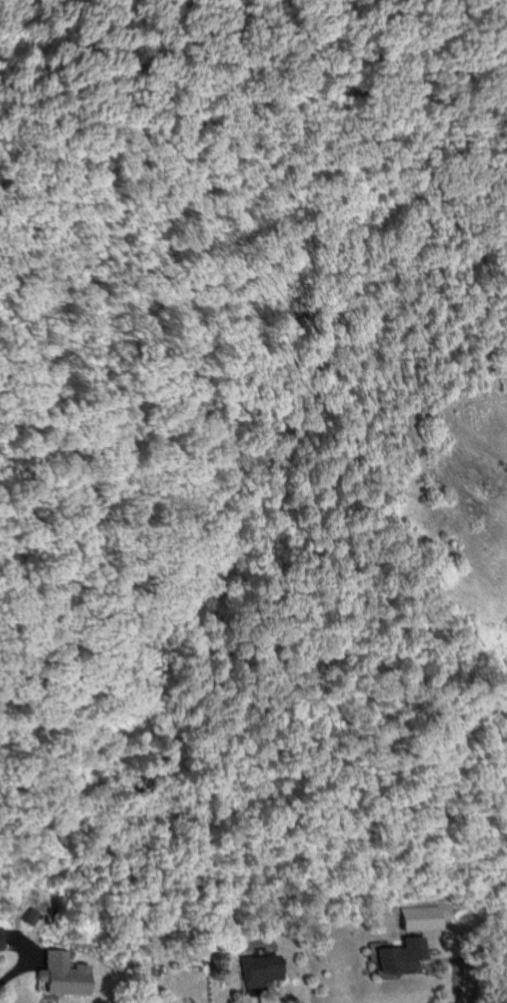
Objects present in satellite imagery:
building: (2, 936)
building: (405, 954)
road: (9, 965)
building: (266, 969)
building: (65, 973)
road: (447, 996)

